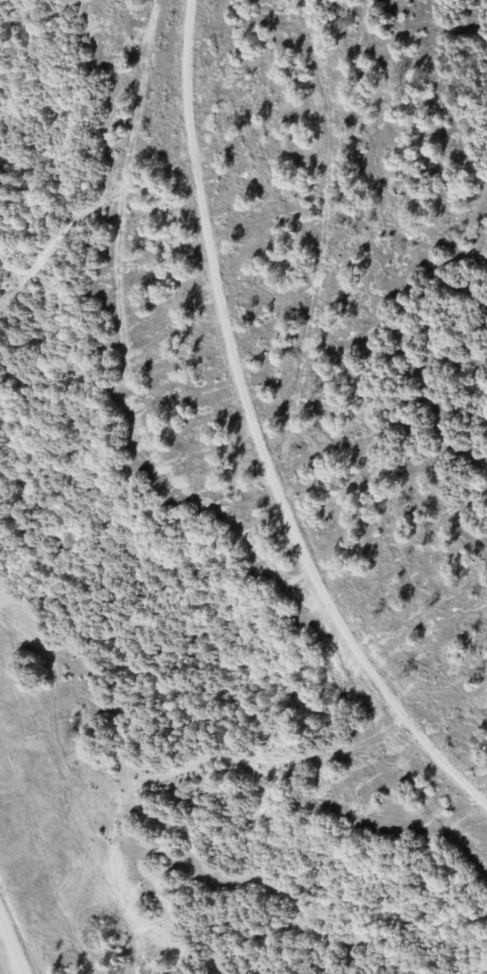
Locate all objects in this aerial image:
road: (14, 939)

